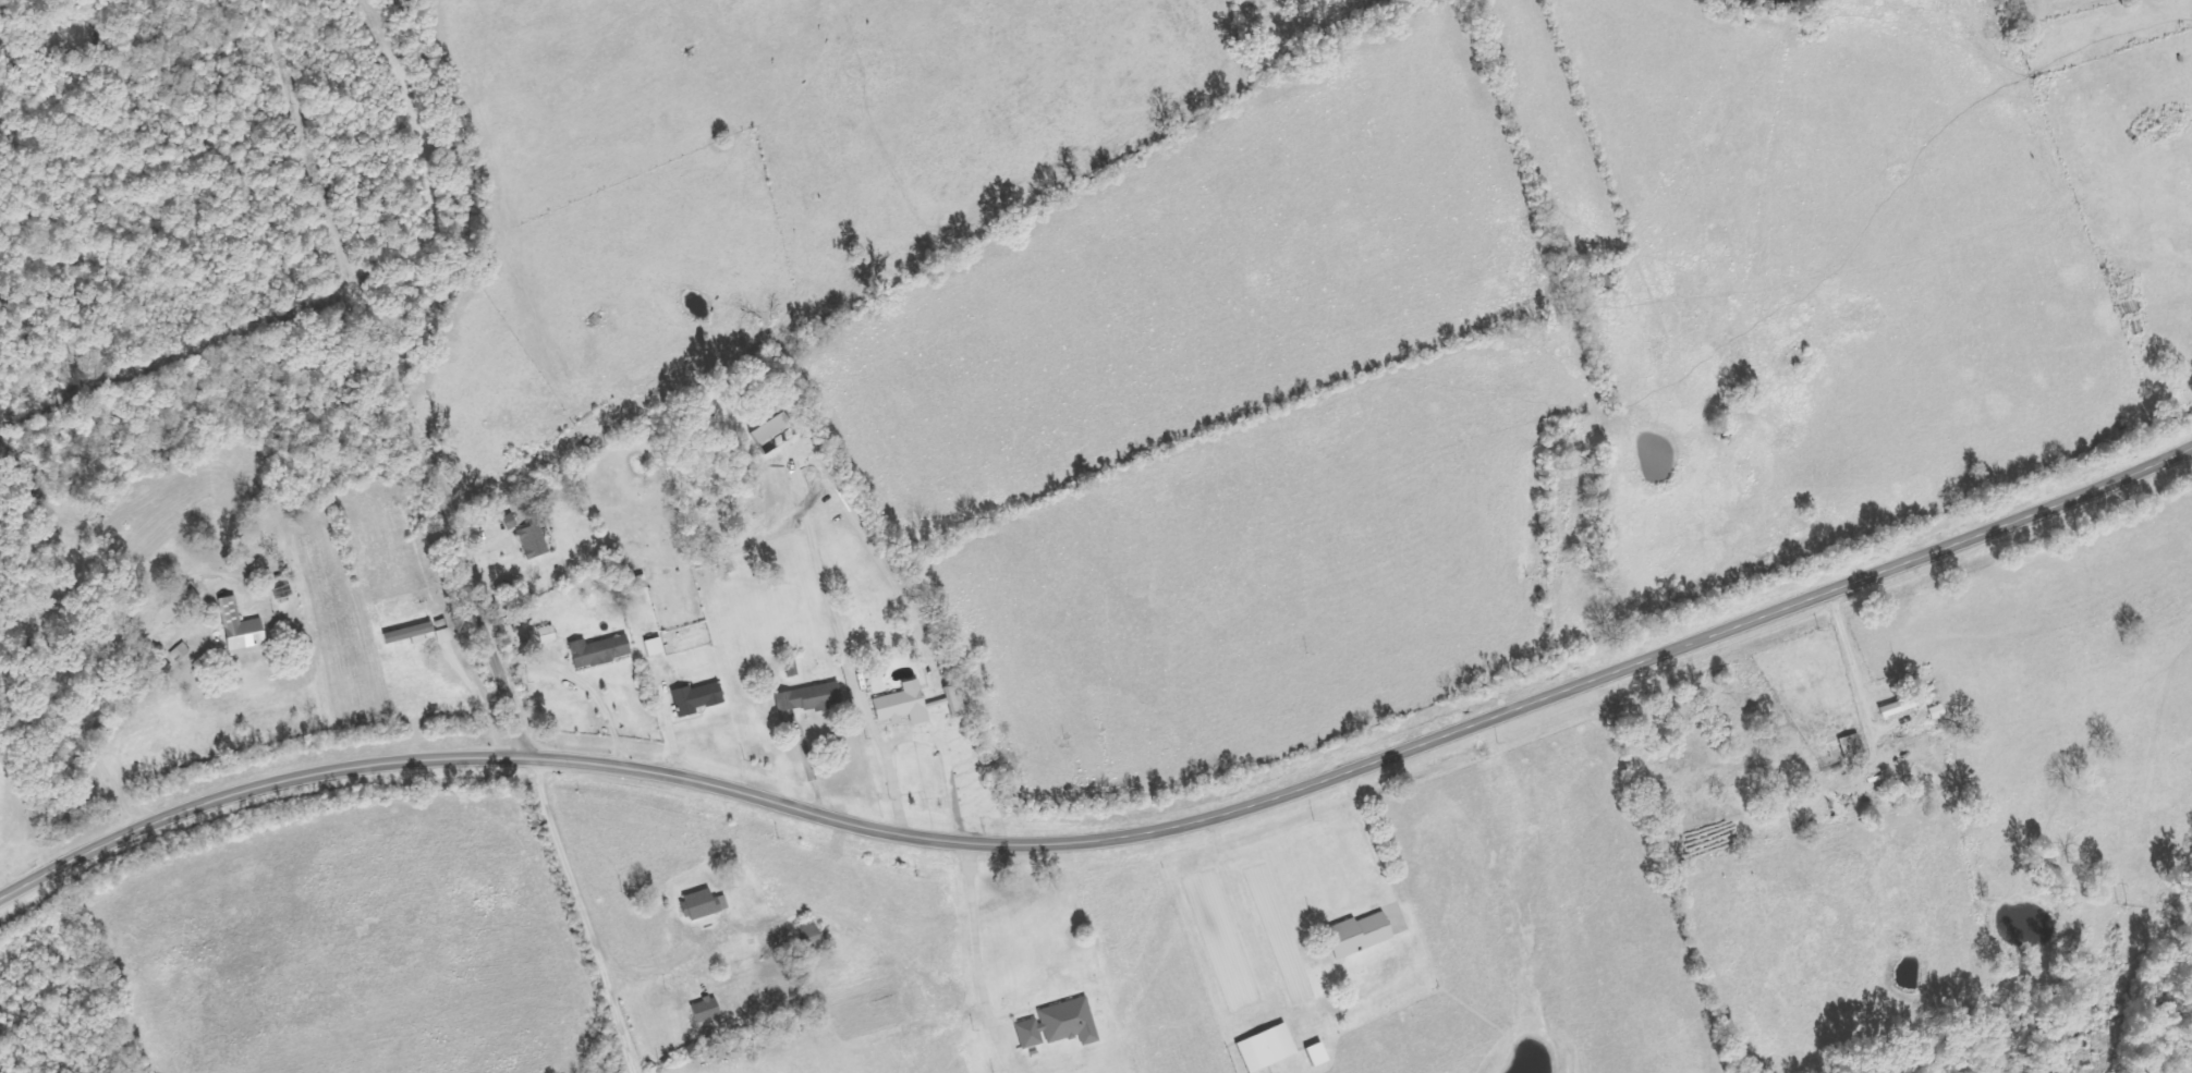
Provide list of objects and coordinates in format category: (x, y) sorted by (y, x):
road: (392, 375)
building: (534, 541)
building: (241, 629)
building: (409, 633)
building: (655, 647)
building: (599, 651)
building: (698, 698)
building: (809, 698)
building: (917, 704)
building: (1905, 705)
building: (1852, 745)
road: (1112, 836)
building: (703, 904)
power tower: (2122, 904)
building: (1359, 935)
building: (706, 1010)
building: (1060, 1025)
building: (1268, 1048)

